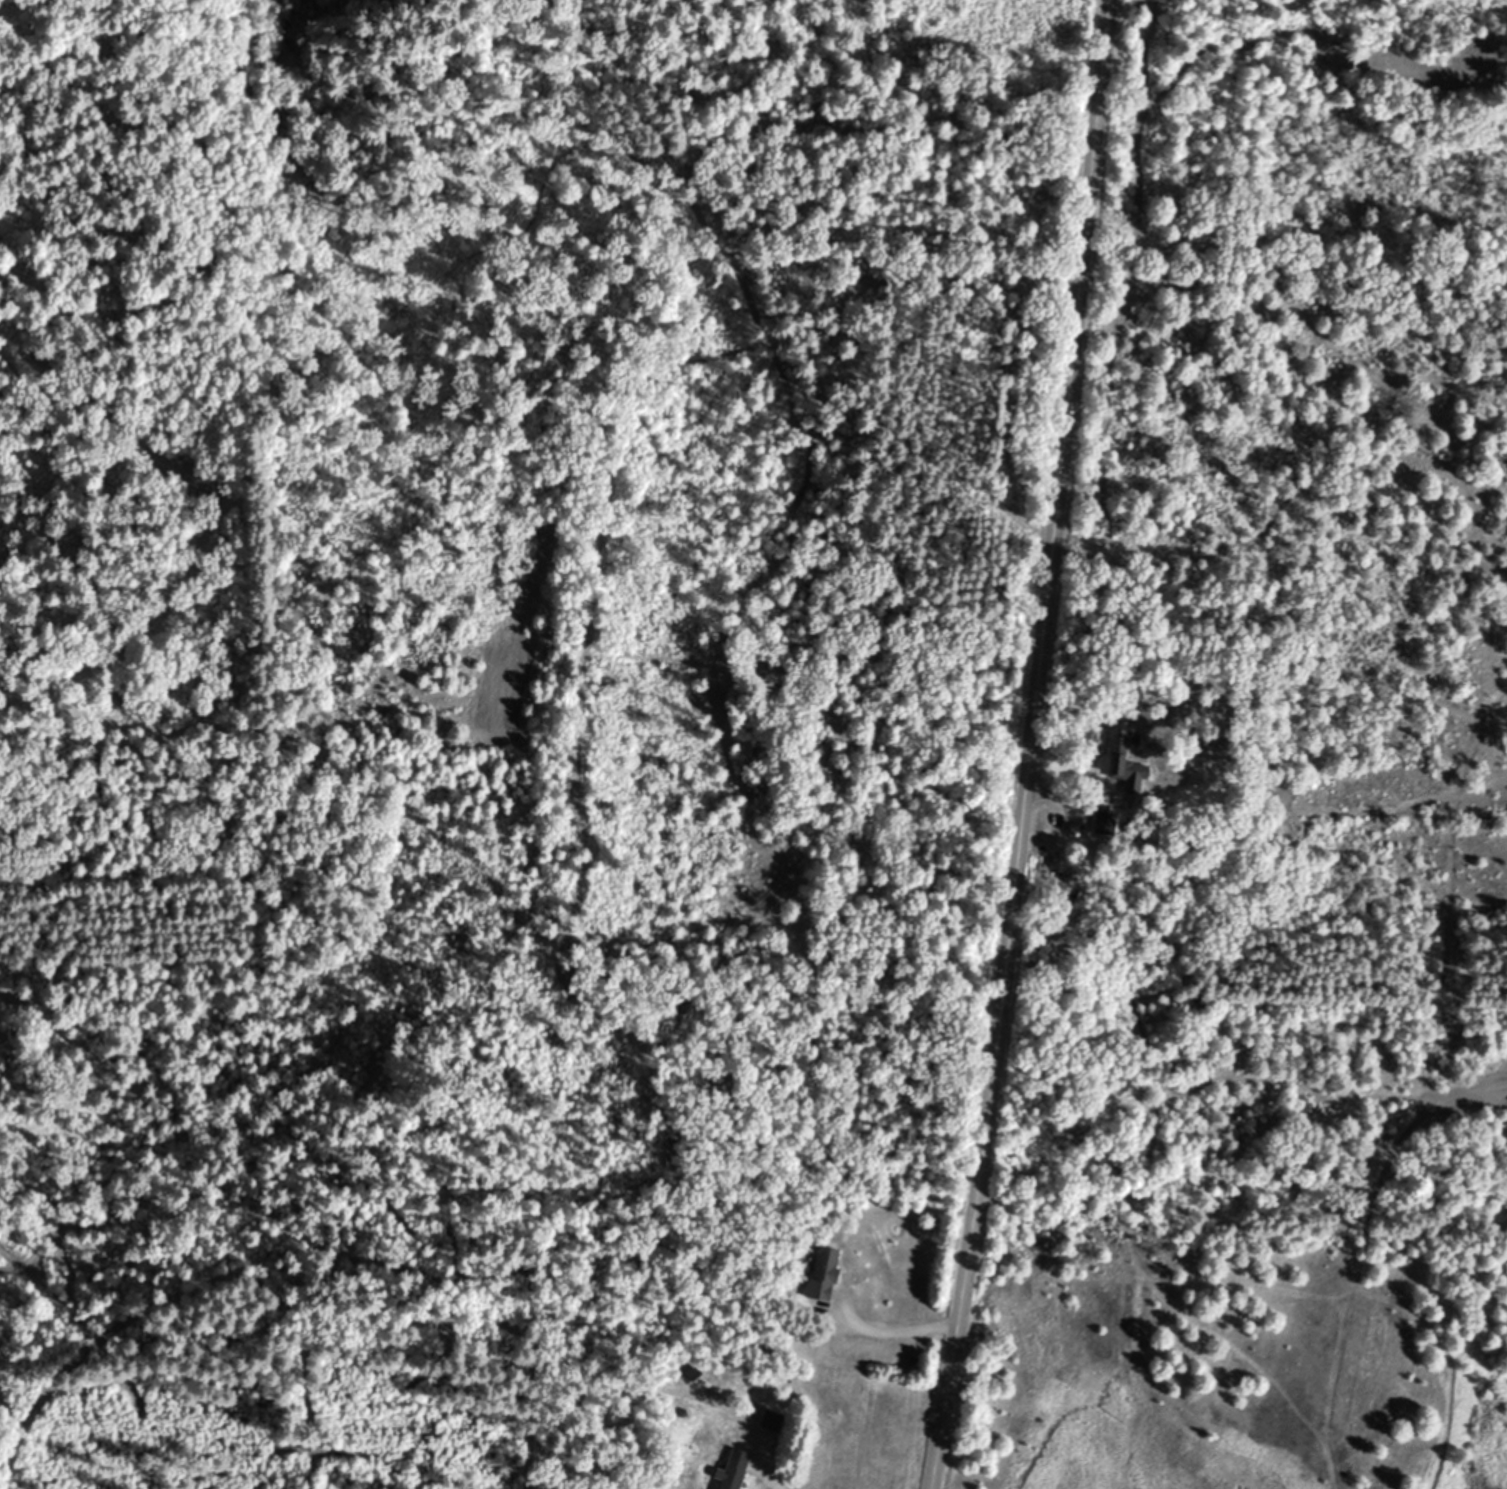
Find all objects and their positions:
building: (1113, 737)
road: (1051, 747)
building: (1131, 777)
building: (1102, 821)
building: (1045, 873)
building: (823, 1272)
road: (892, 1338)
building: (771, 1420)
building: (732, 1470)
road: (763, 1479)

